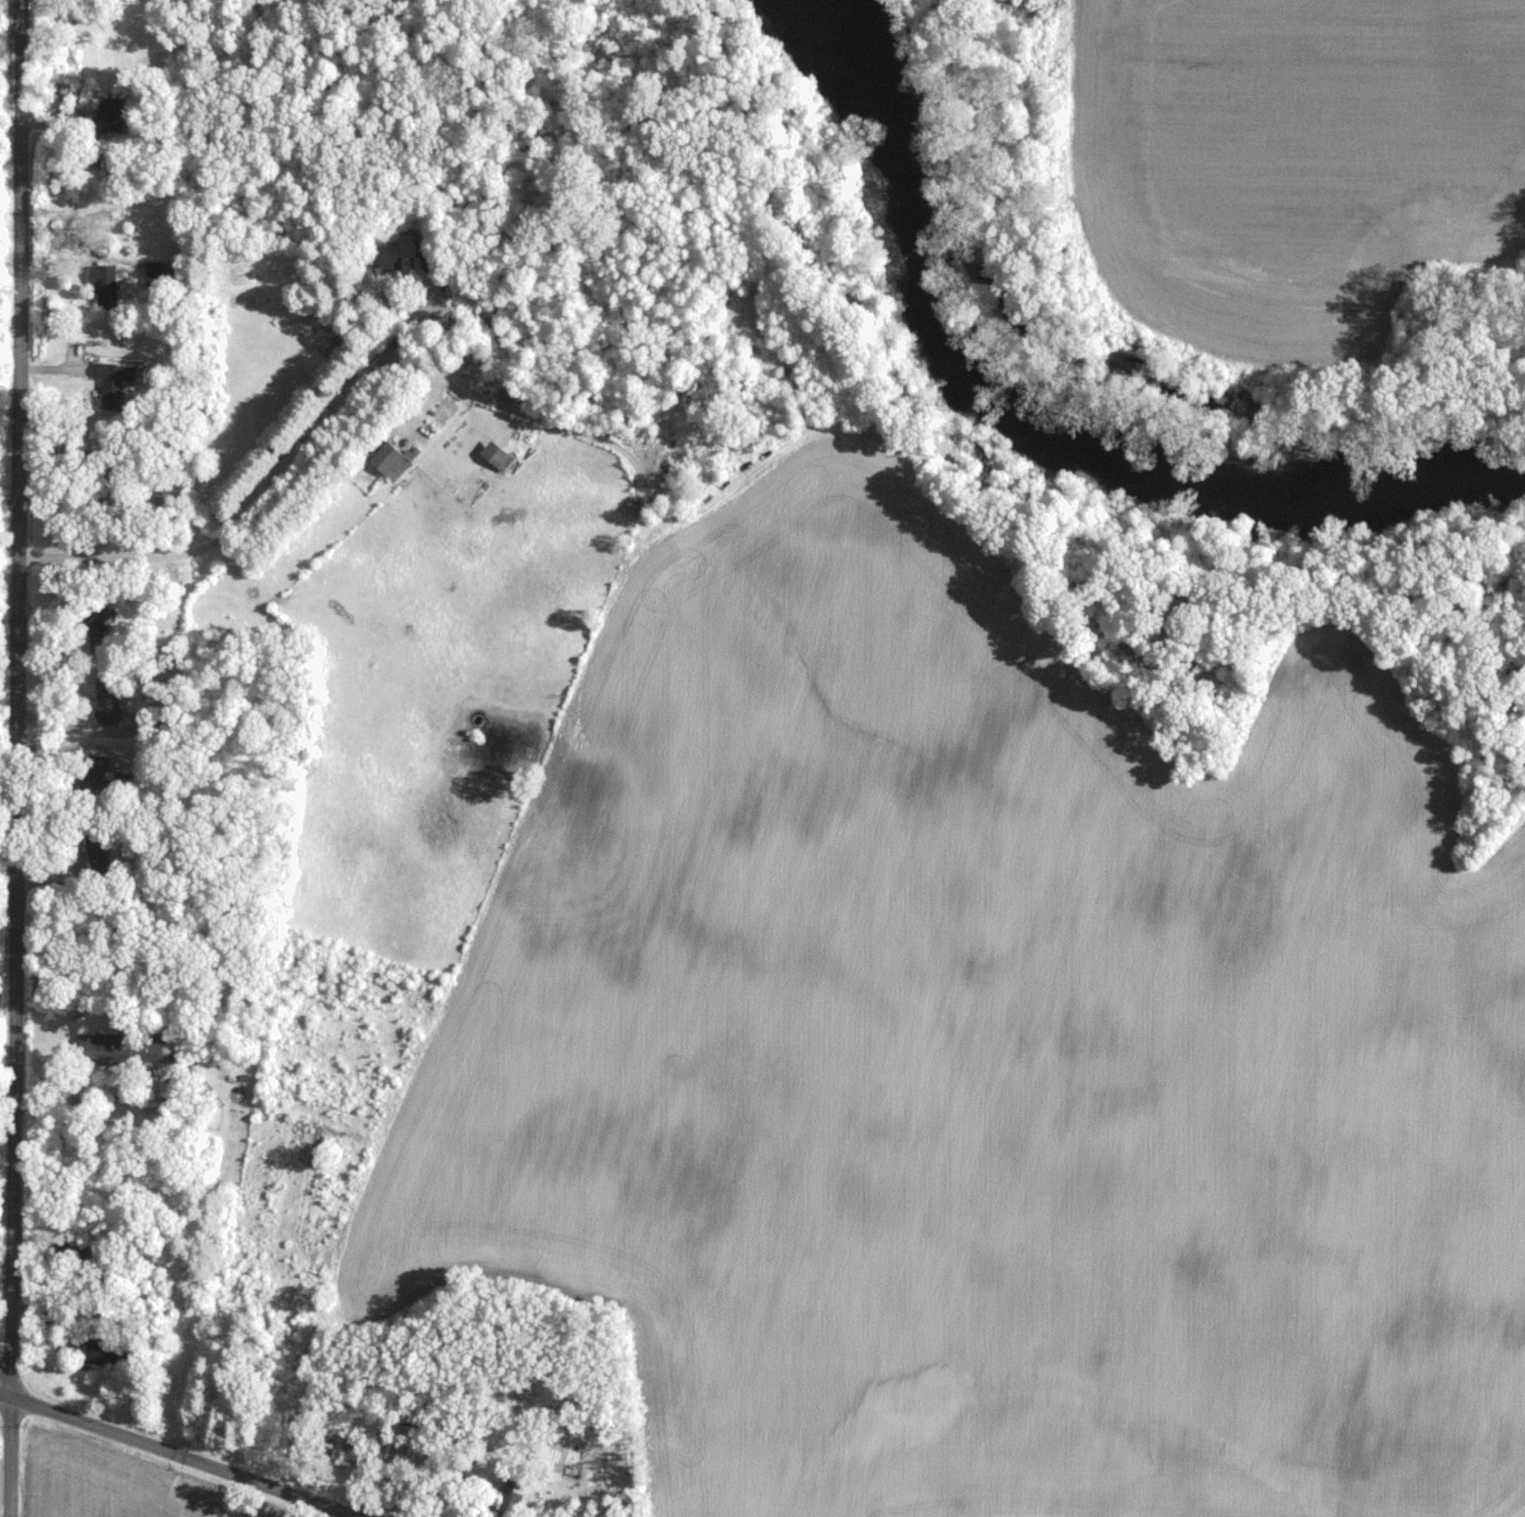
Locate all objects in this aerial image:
building: (105, 298)
road: (325, 412)
river: (1071, 414)
building: (133, 724)
road: (15, 758)
road: (180, 1455)

